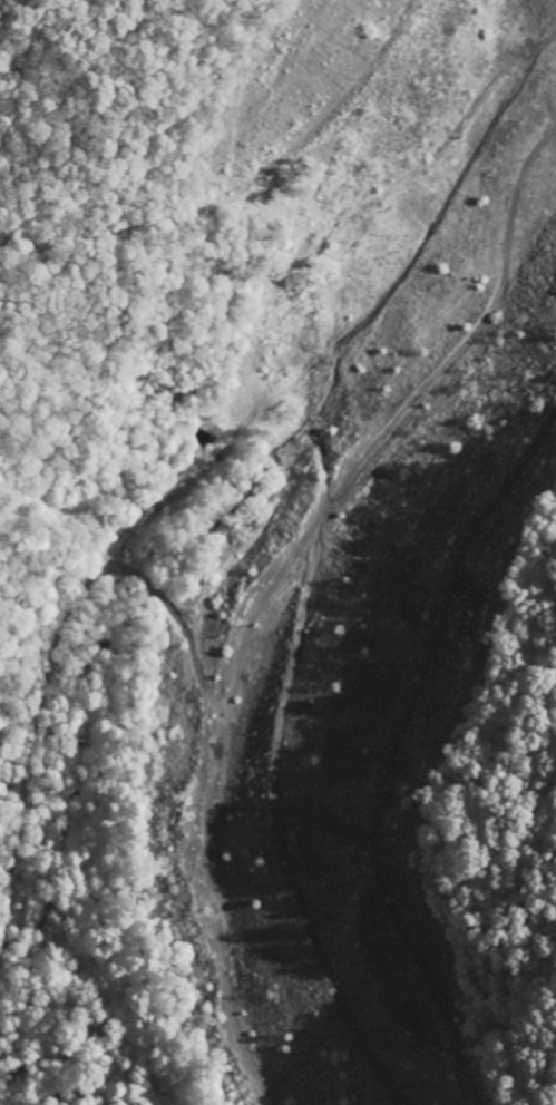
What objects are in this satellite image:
road: (301, 529)

